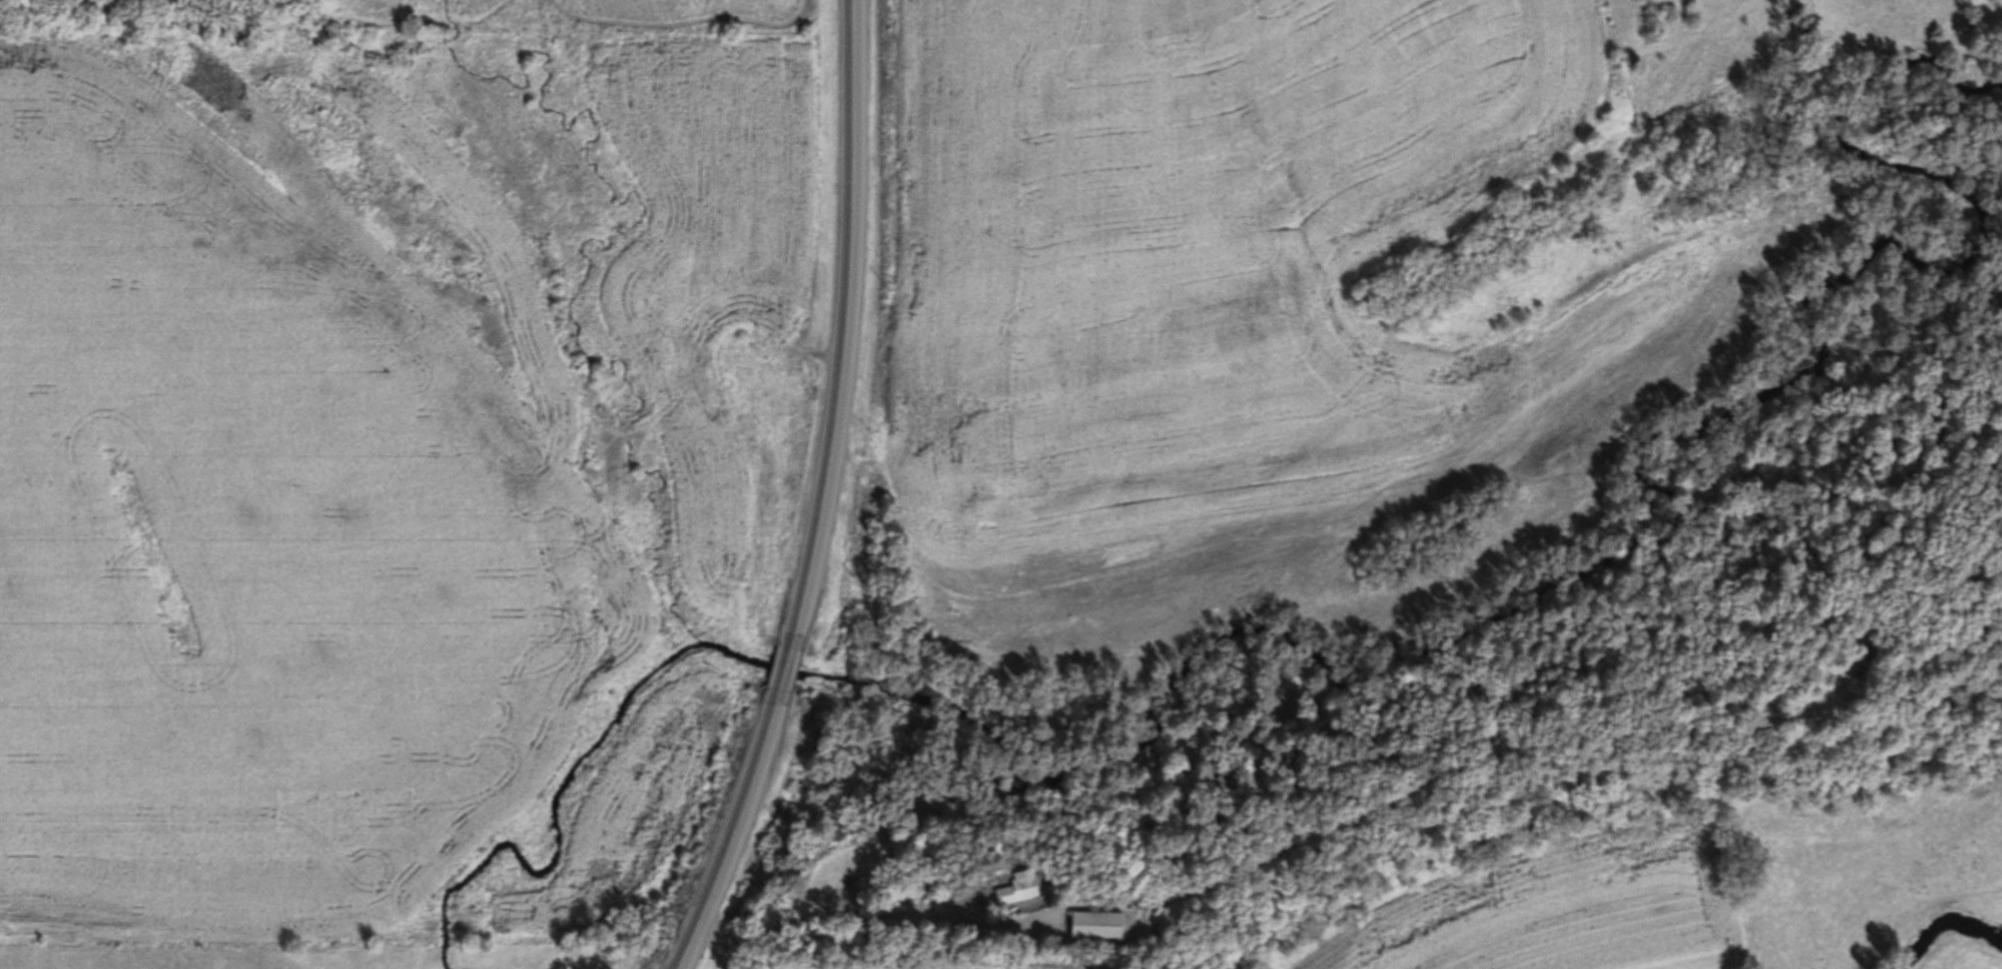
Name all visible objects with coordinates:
road: (842, 326)
building: (1875, 640)
road: (784, 667)
road: (732, 829)
road: (1285, 849)
building: (1034, 886)
building: (1093, 926)

